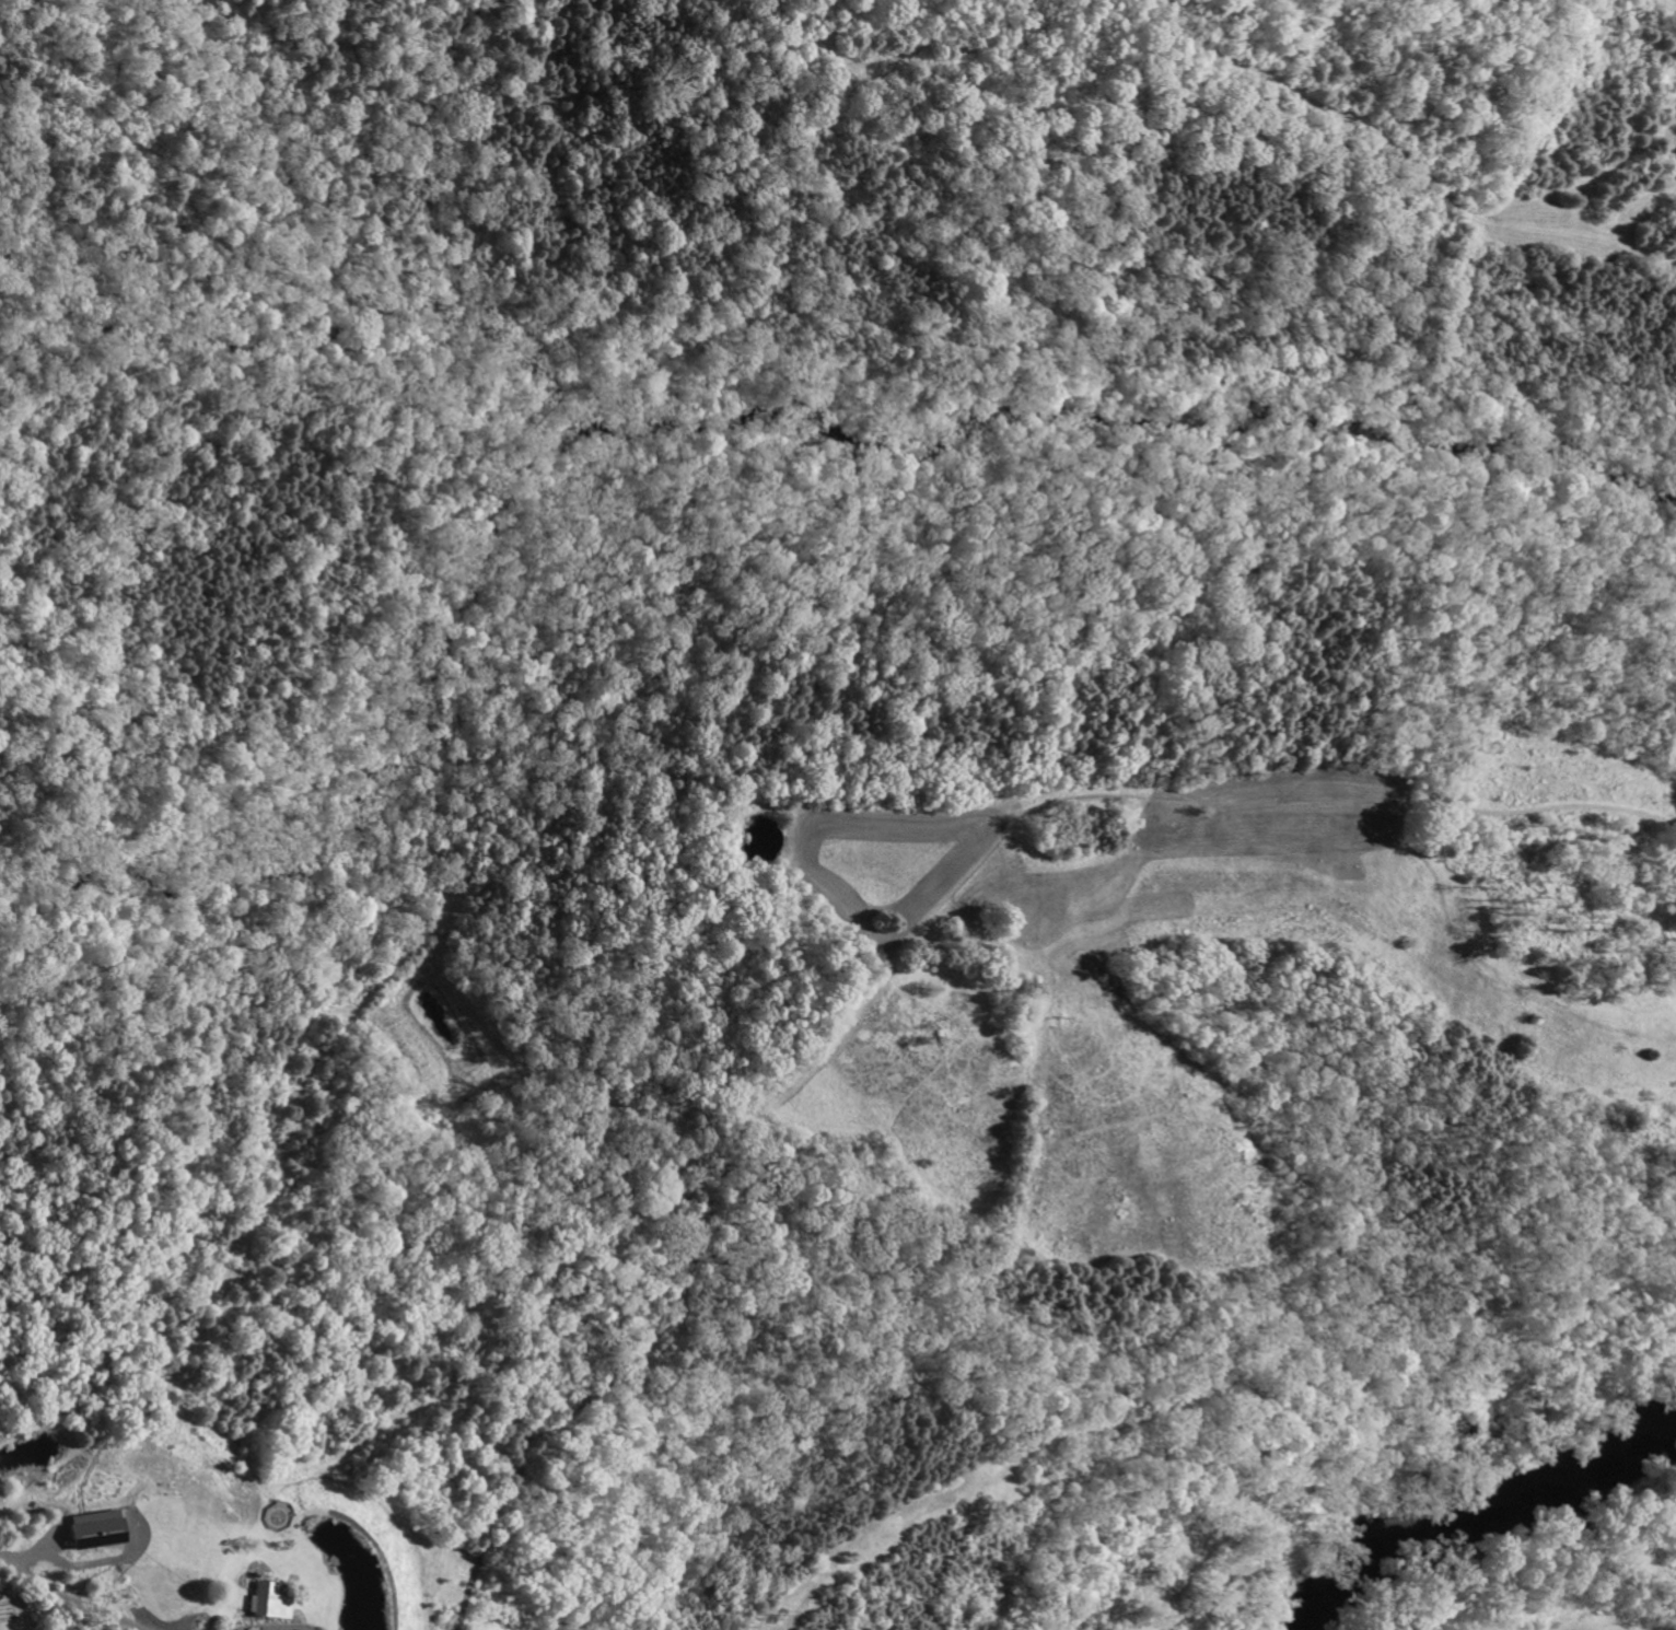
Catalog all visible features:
river: (1473, 1497)
building: (88, 1533)
road: (70, 1597)
building: (272, 1599)
road: (282, 1625)

